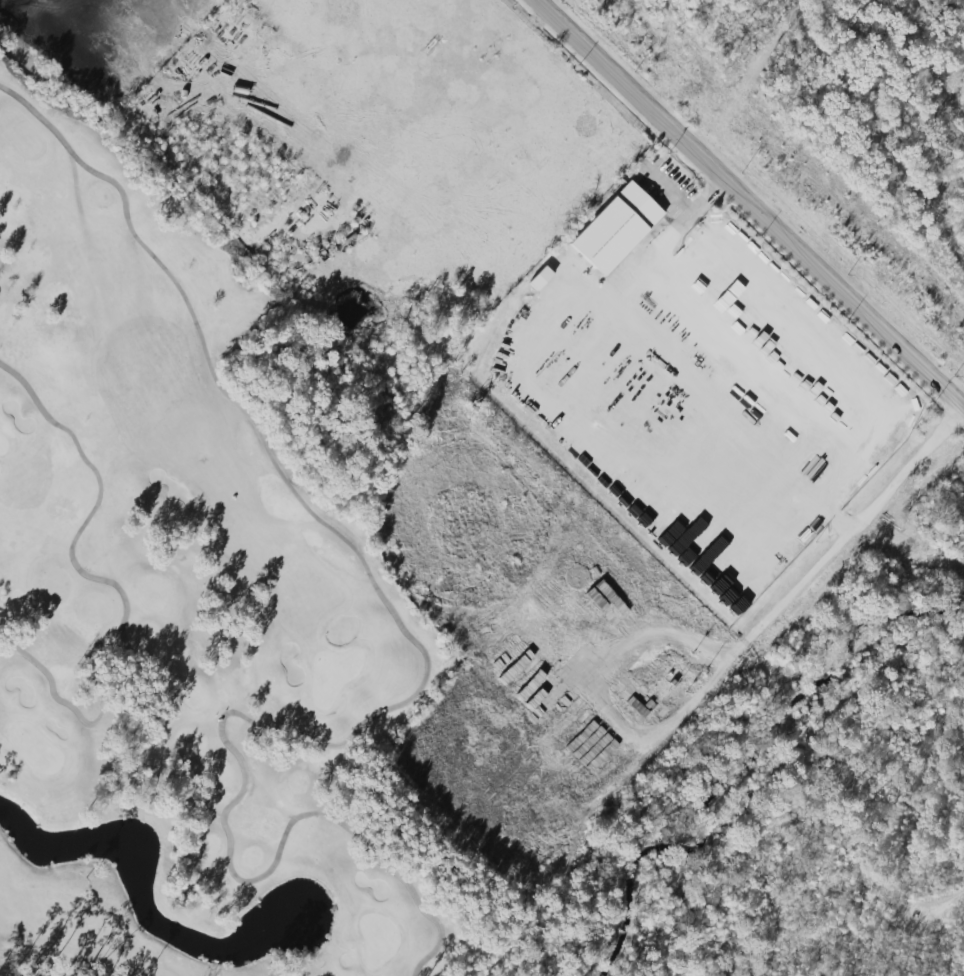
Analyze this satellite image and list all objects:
road: (34, 12)
road: (750, 206)
road: (686, 207)
building: (615, 228)
building: (539, 278)
road: (685, 378)
park: (223, 570)
road: (662, 627)
road: (756, 631)
building: (591, 746)

